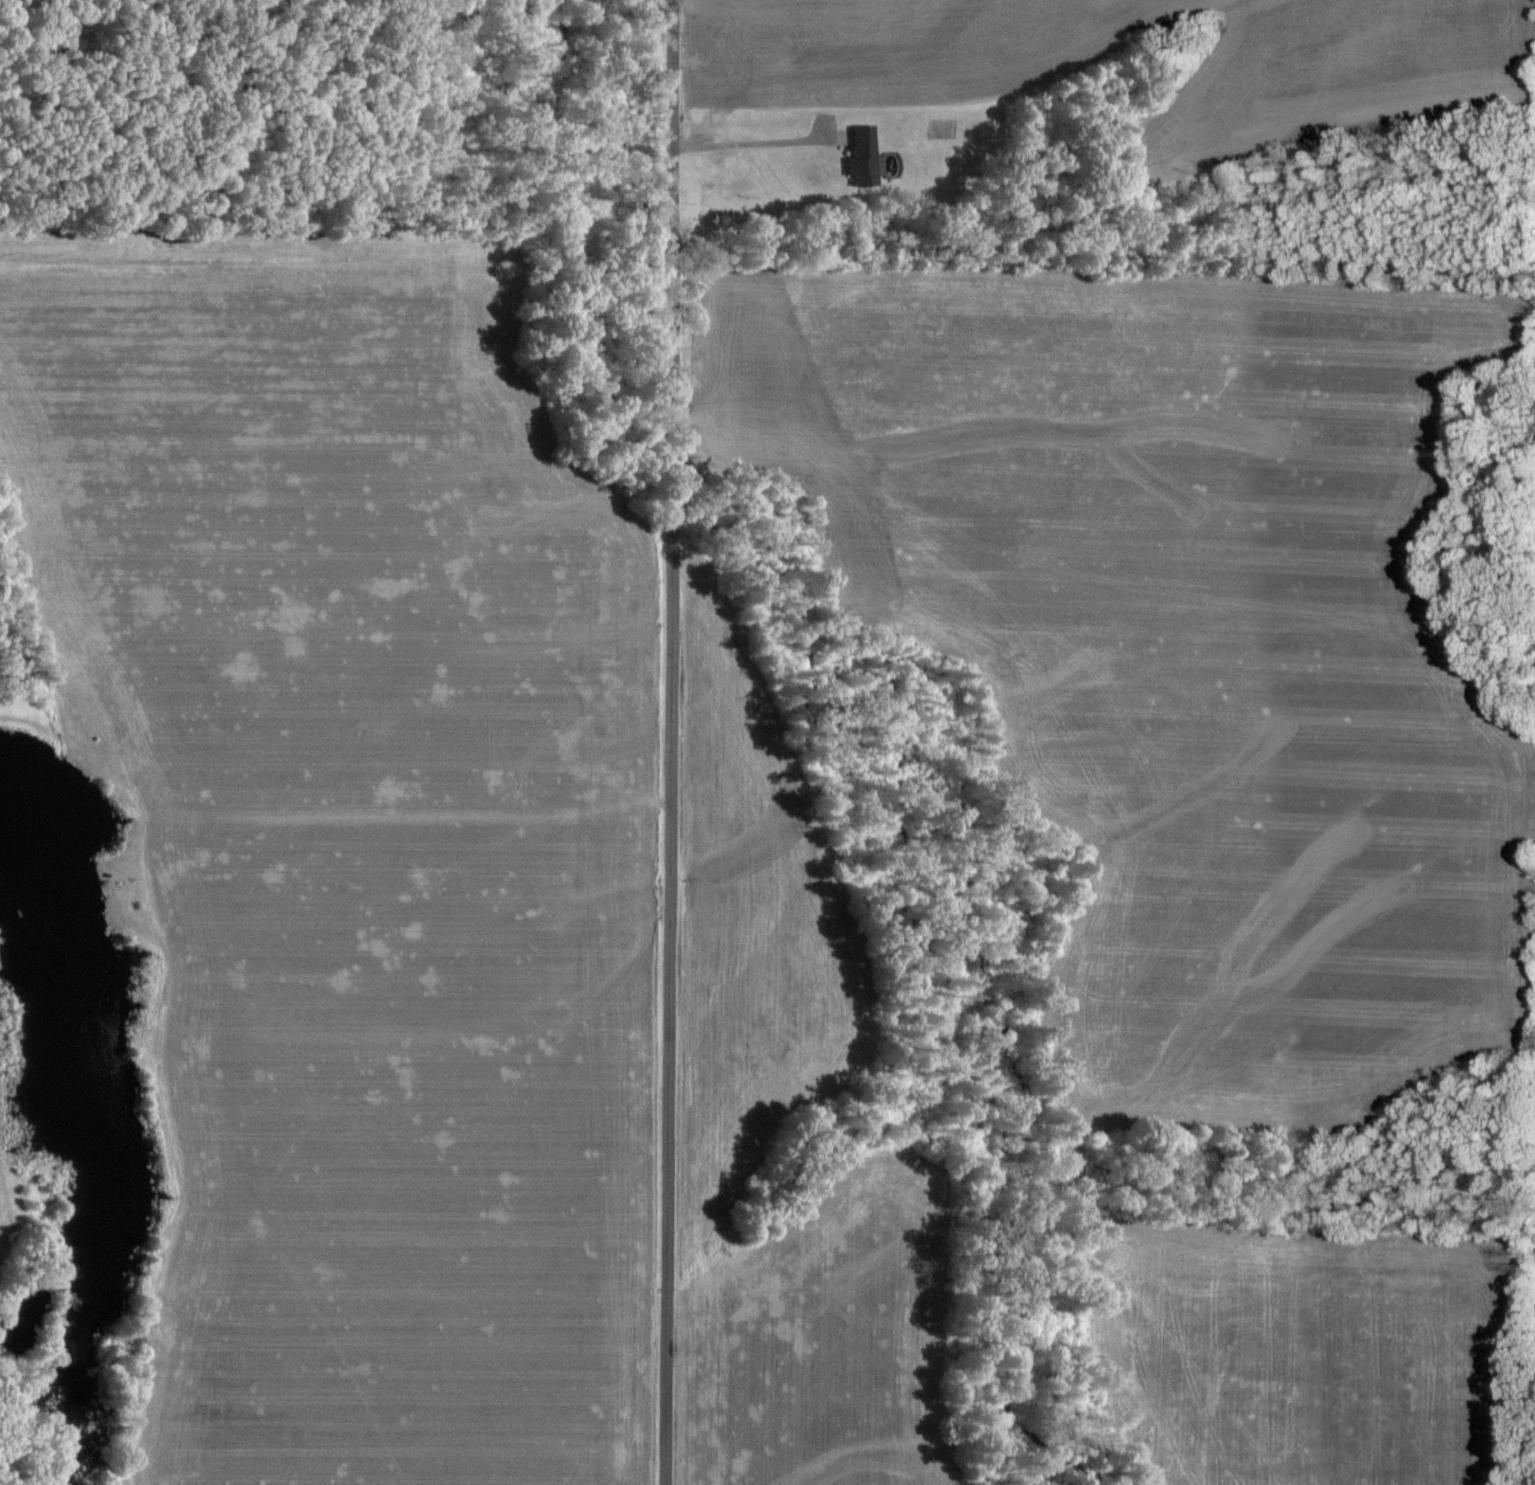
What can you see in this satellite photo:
road: (758, 145)
building: (871, 158)
road: (666, 742)

